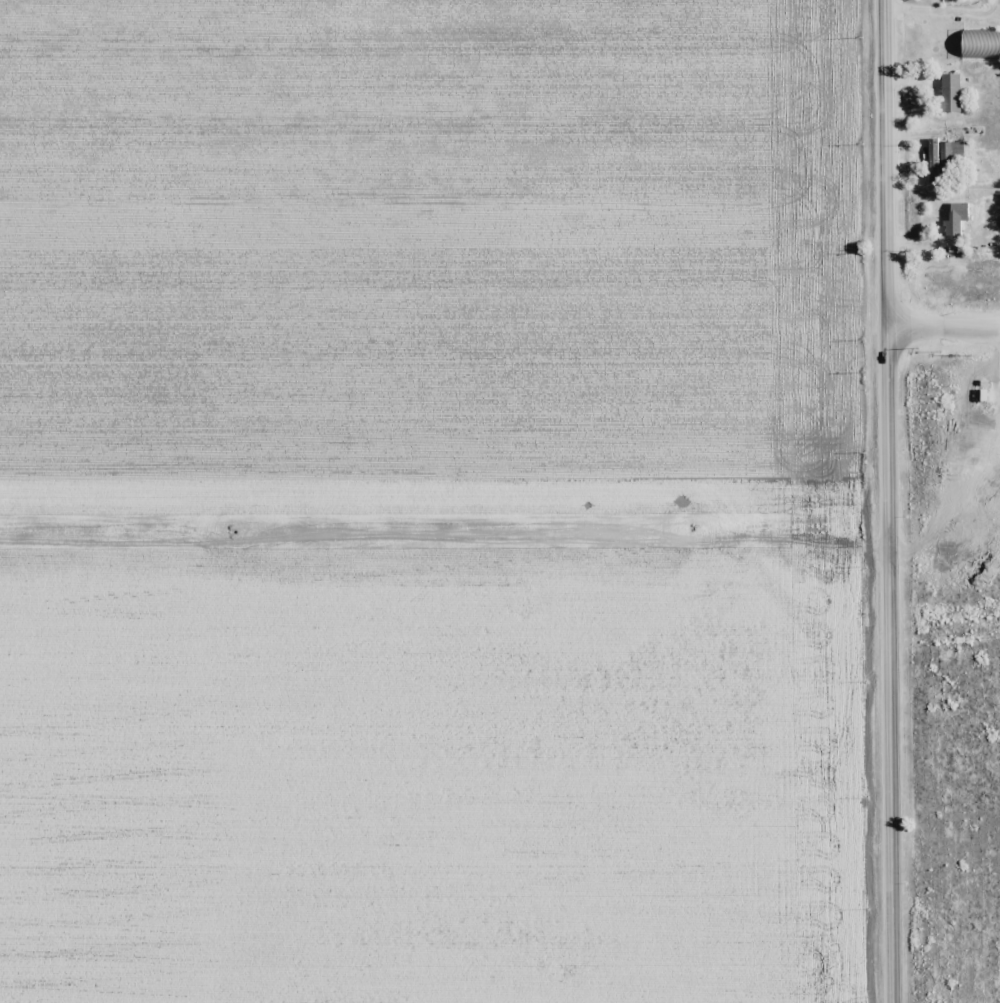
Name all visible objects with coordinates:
building: (980, 44)
building: (949, 92)
building: (950, 151)
building: (957, 211)
road: (894, 501)
crop: (958, 630)

